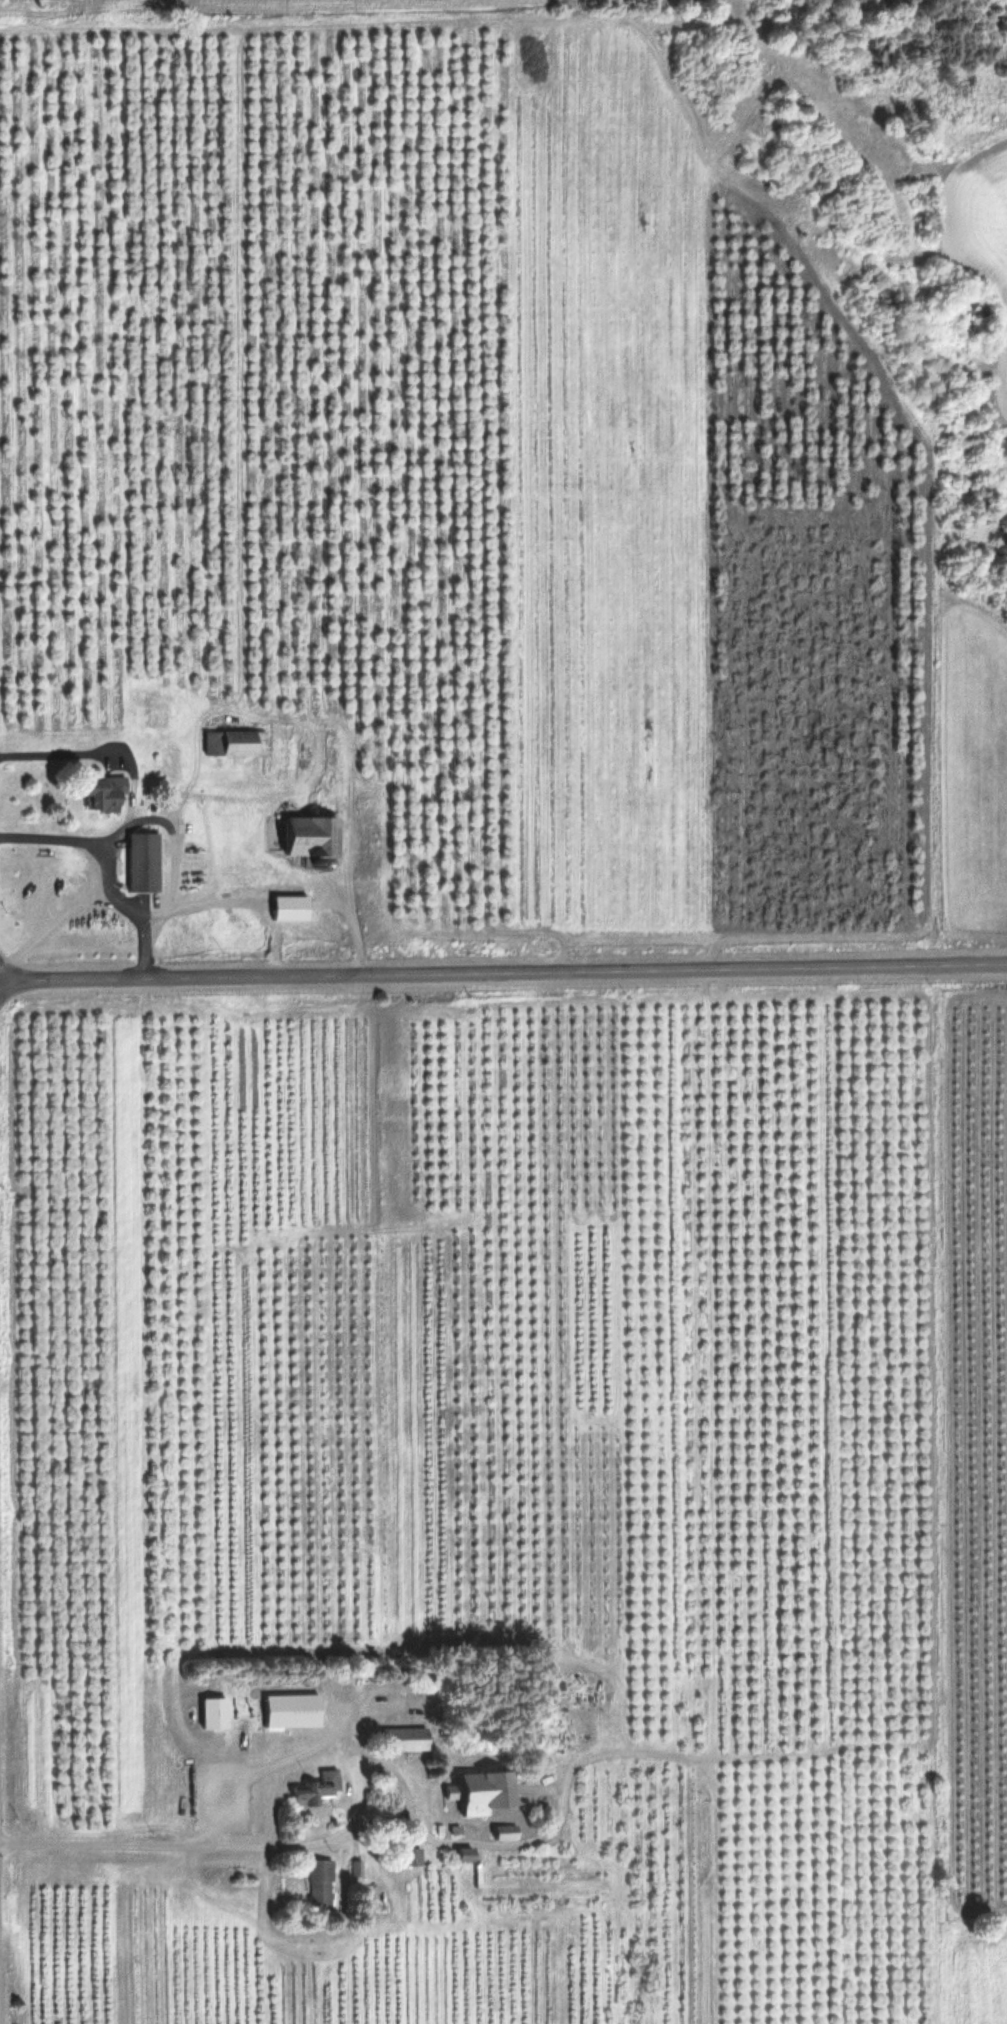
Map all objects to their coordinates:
building: (154, 713)
building: (233, 744)
building: (99, 795)
building: (306, 838)
building: (140, 863)
building: (287, 909)
road: (503, 971)
building: (291, 1711)
building: (211, 1714)
building: (404, 1740)
building: (314, 1789)
building: (481, 1792)
building: (503, 1833)
road: (191, 1846)
building: (462, 1855)
building: (410, 1857)
building: (317, 1883)

